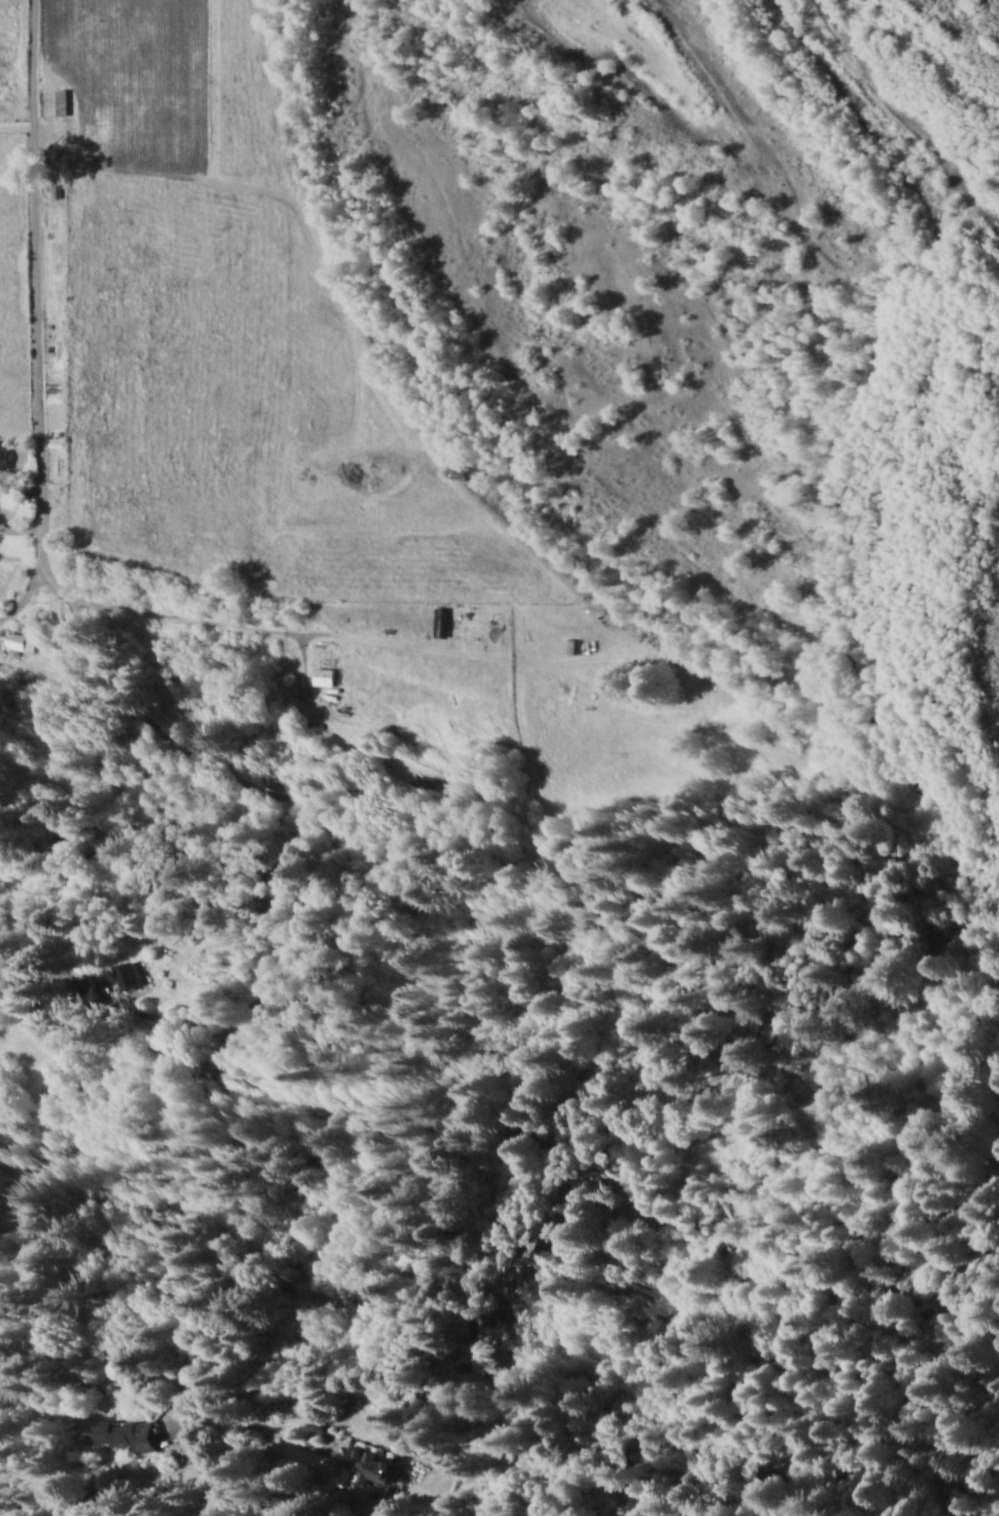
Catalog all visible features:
building: (3, 459)
road: (60, 589)
building: (20, 640)
building: (323, 676)
building: (118, 1432)
building: (370, 1465)

